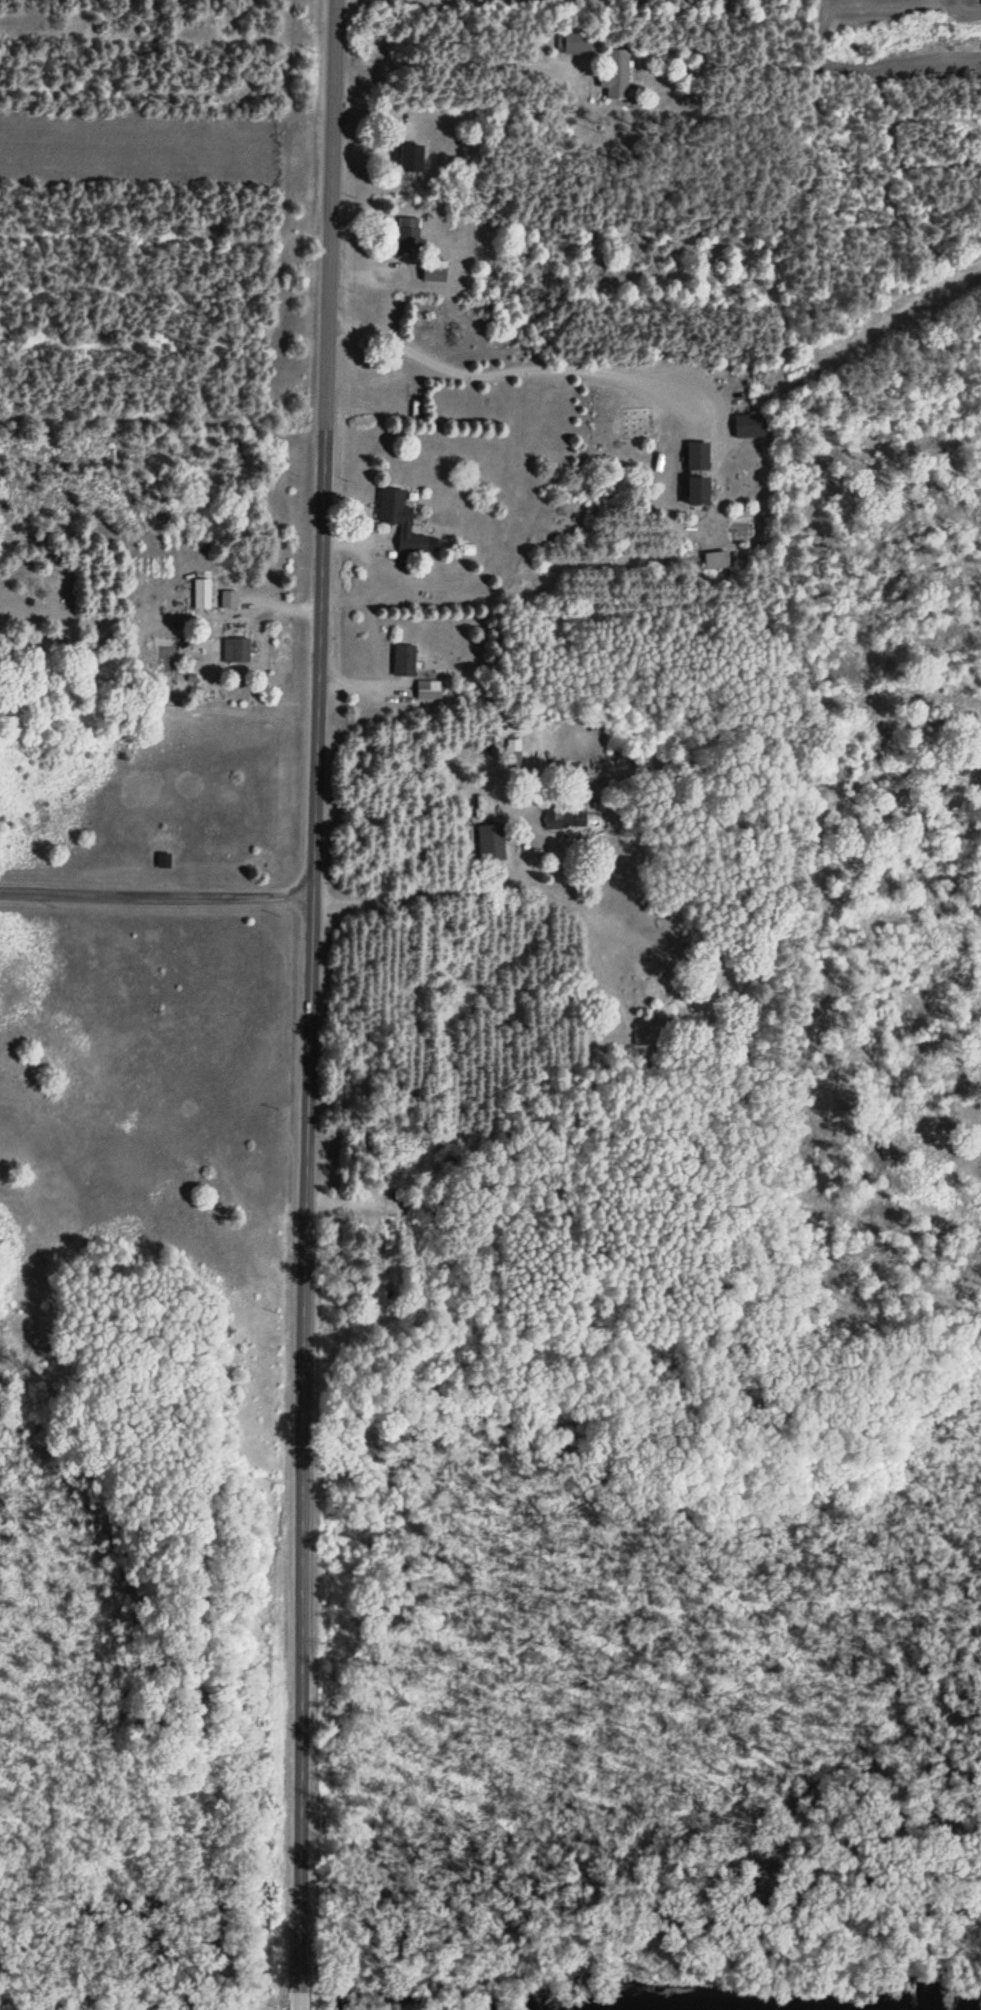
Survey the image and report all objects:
building: (580, 44)
building: (618, 74)
building: (409, 235)
road: (327, 252)
building: (749, 426)
building: (699, 457)
building: (700, 490)
building: (401, 518)
building: (716, 560)
building: (203, 594)
building: (229, 600)
building: (237, 651)
building: (405, 661)
building: (429, 690)
building: (566, 817)
building: (492, 842)
building: (164, 860)
road: (238, 897)
road: (306, 1255)
river: (957, 2007)
road: (297, 2008)

